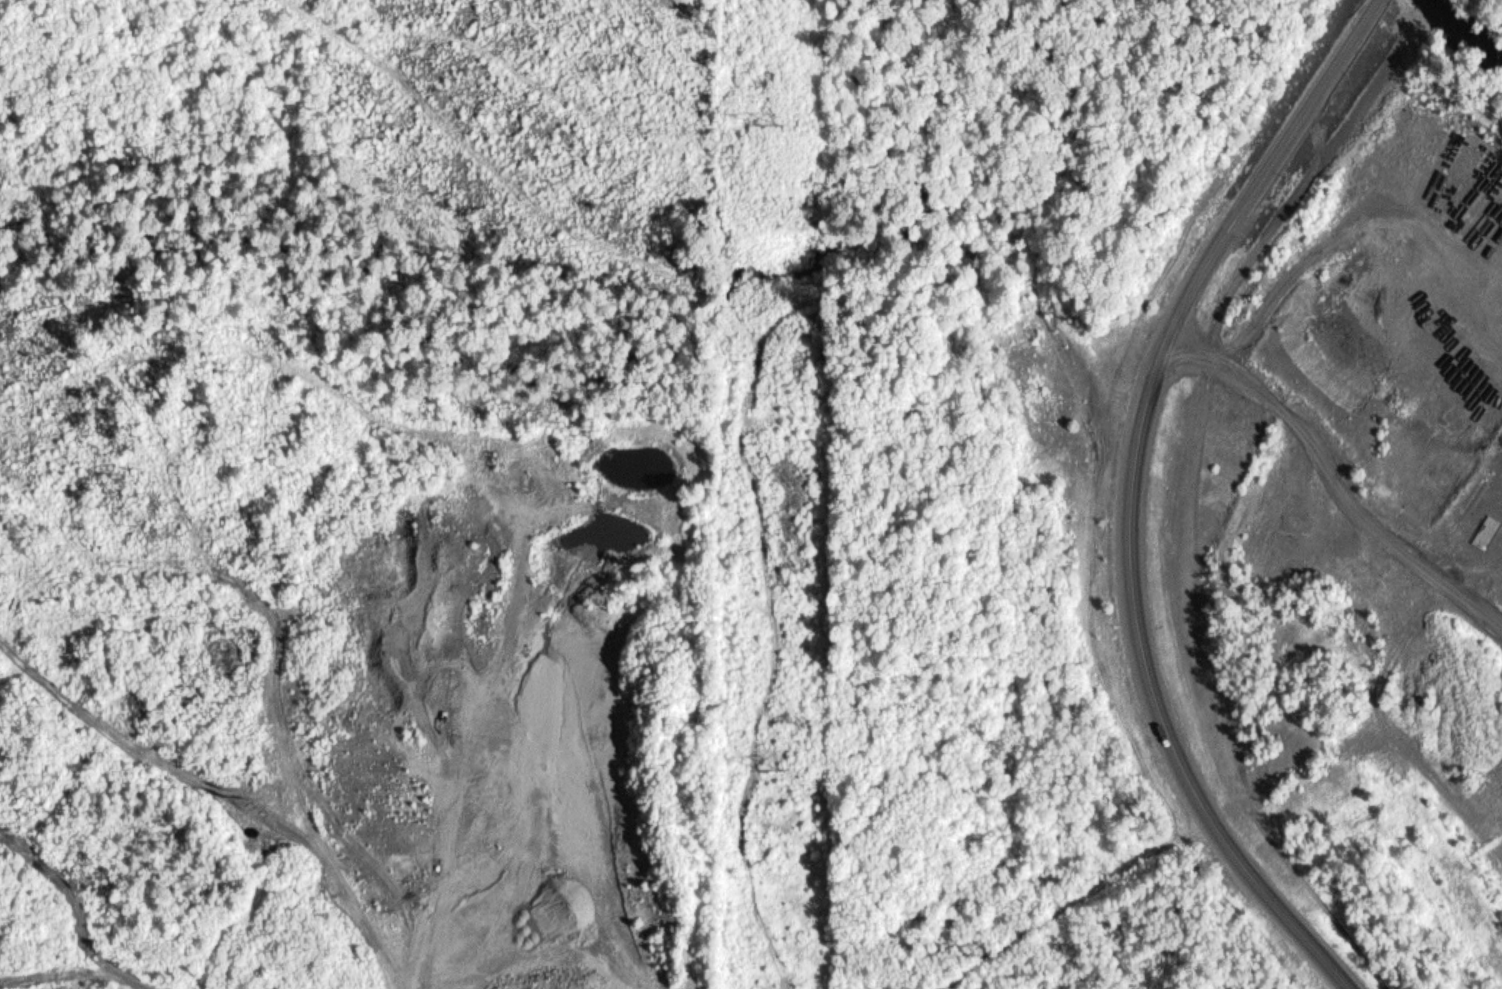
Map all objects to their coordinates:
river: (1448, 26)
river: (1484, 68)
power tower: (788, 118)
road: (1158, 388)
power tower: (782, 770)
road: (1285, 906)

